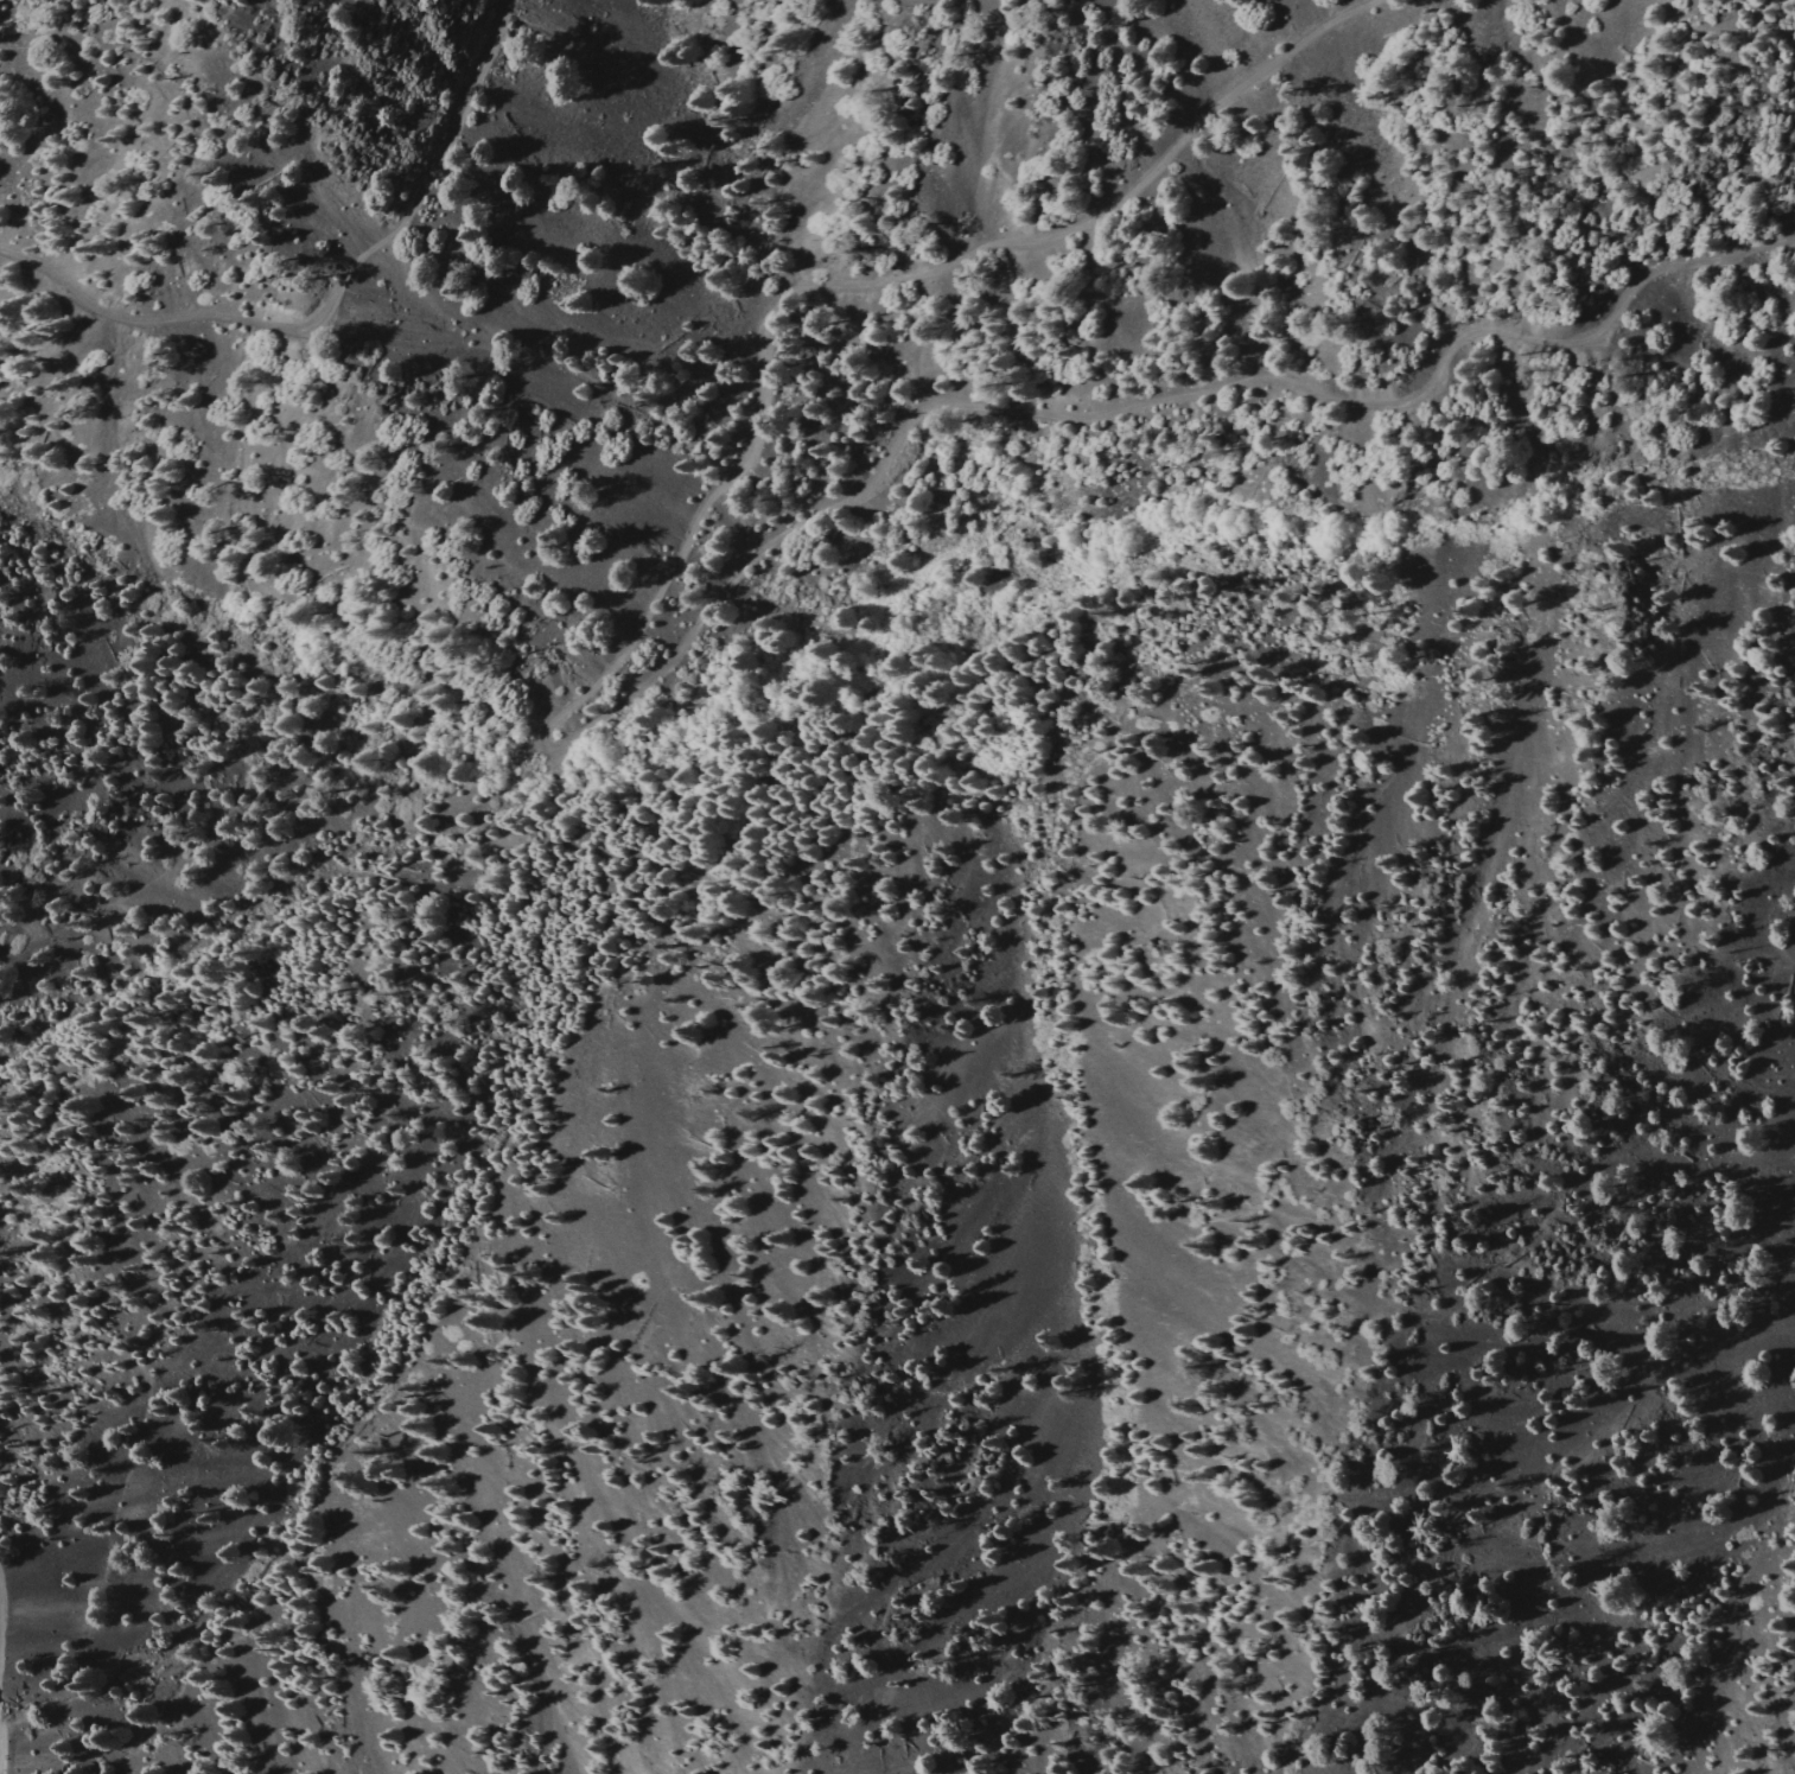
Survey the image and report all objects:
road: (917, 2)
road: (325, 299)
road: (648, 680)

